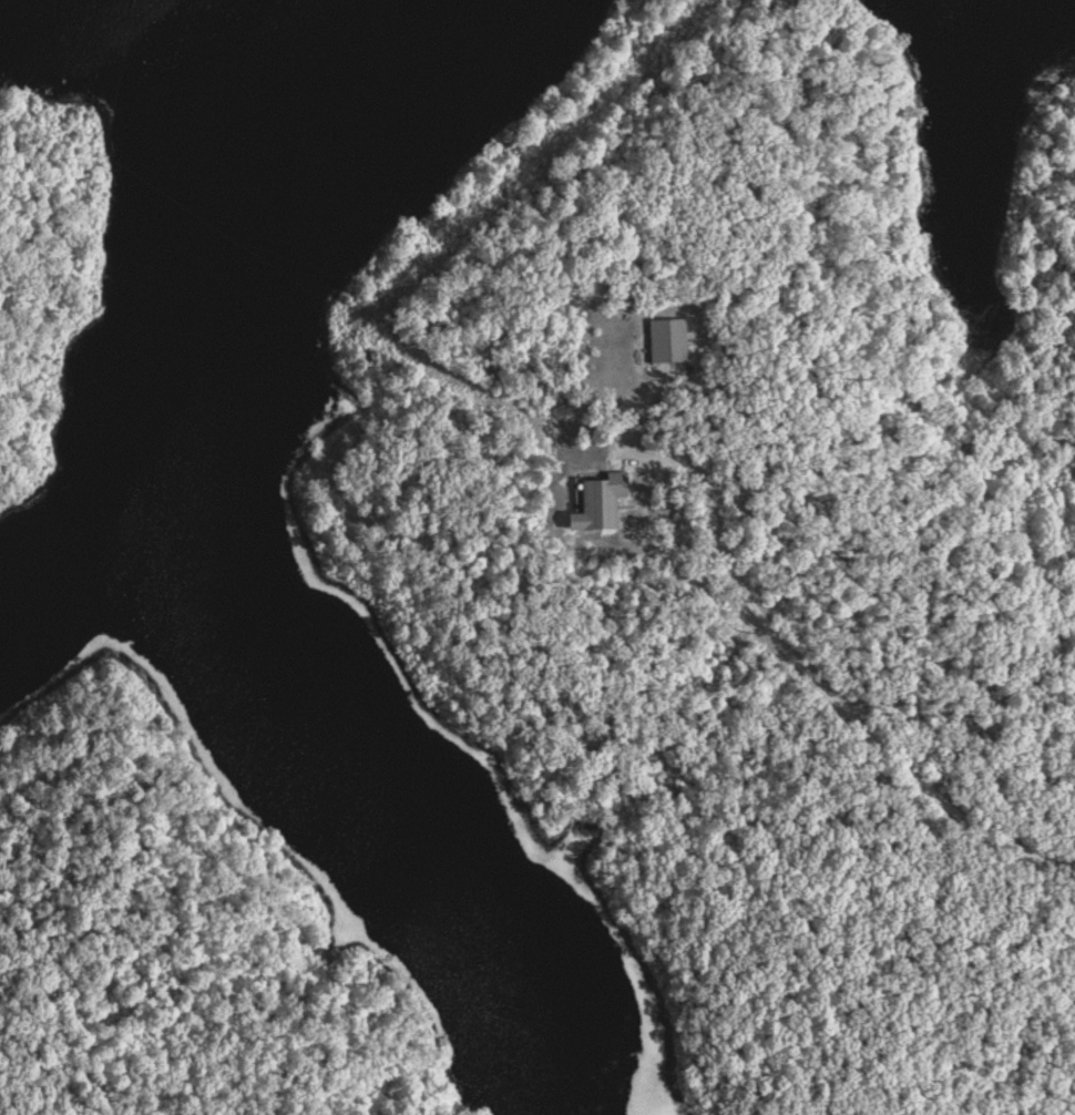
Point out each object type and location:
building: (676, 337)
building: (608, 499)

